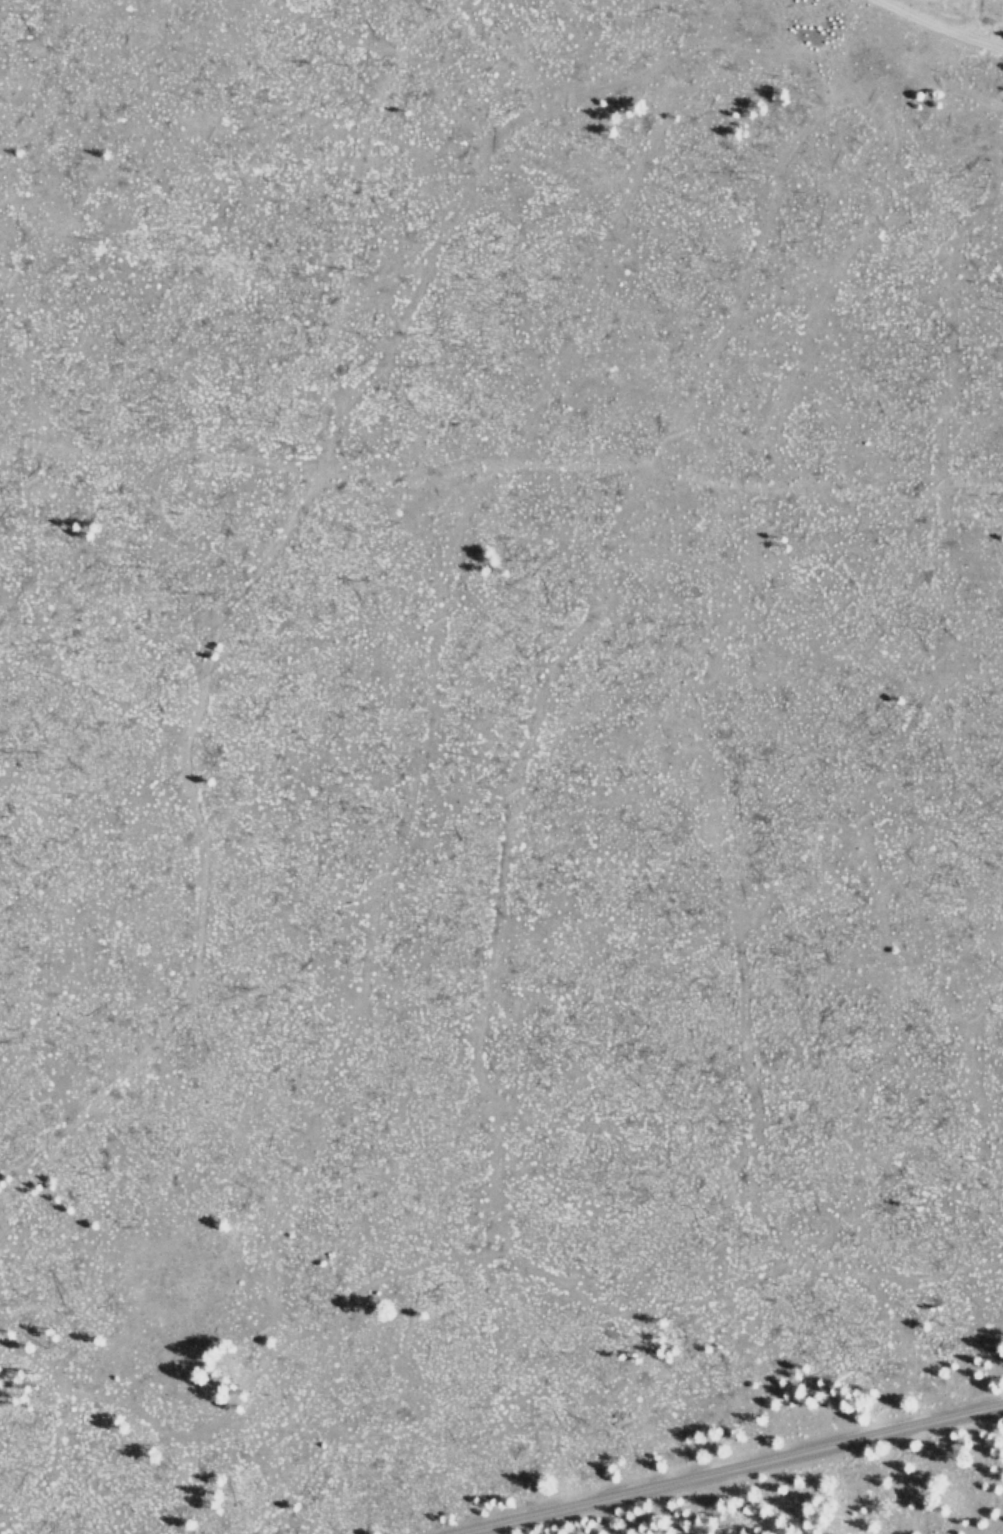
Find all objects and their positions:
road: (295, 528)
road: (573, 1428)

